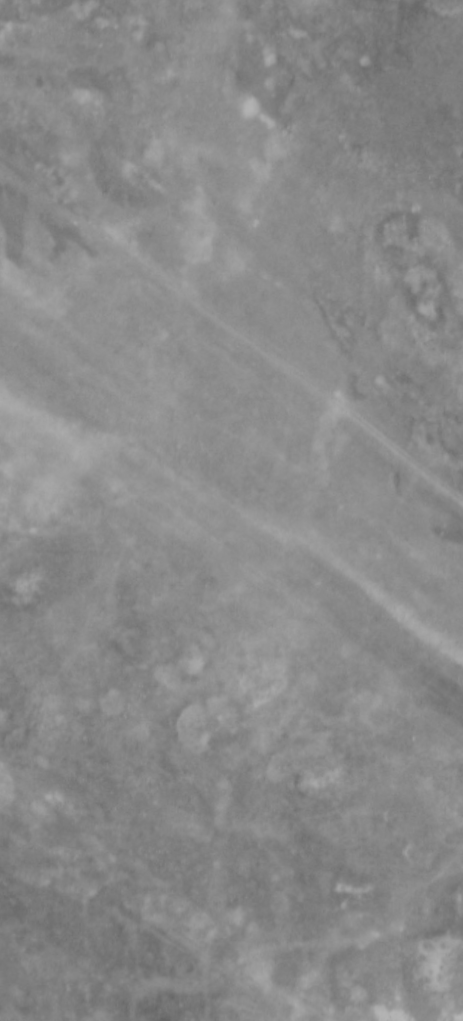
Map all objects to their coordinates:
road: (232, 328)

